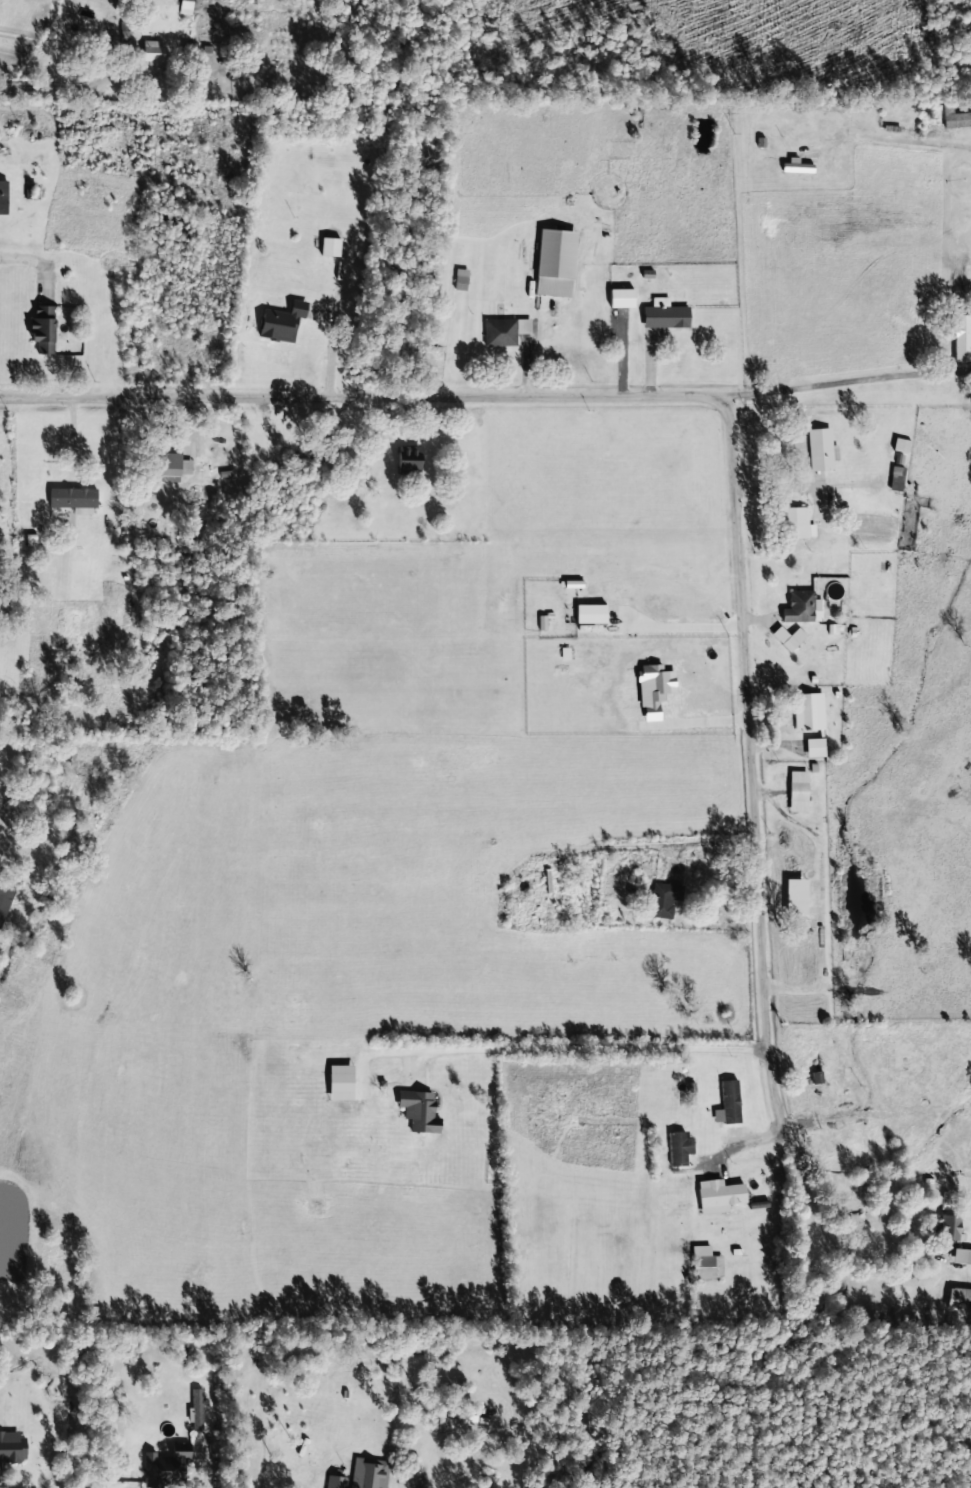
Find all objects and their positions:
building: (151, 52)
building: (956, 121)
building: (2, 198)
building: (329, 248)
building: (553, 264)
building: (459, 284)
building: (663, 318)
building: (279, 323)
building: (39, 330)
building: (503, 333)
building: (960, 340)
road: (832, 397)
building: (900, 446)
building: (818, 450)
building: (406, 461)
building: (167, 467)
building: (894, 481)
building: (70, 500)
road: (700, 509)
building: (792, 523)
building: (797, 609)
building: (807, 713)
building: (796, 793)
building: (5, 893)
building: (661, 901)
building: (405, 1088)
building: (728, 1102)
building: (675, 1149)
building: (719, 1196)
building: (946, 1230)
building: (961, 1257)
building: (705, 1268)
building: (182, 1351)
building: (195, 1410)
building: (458, 1415)
building: (10, 1447)
building: (165, 1468)
building: (367, 1474)
building: (334, 1482)

